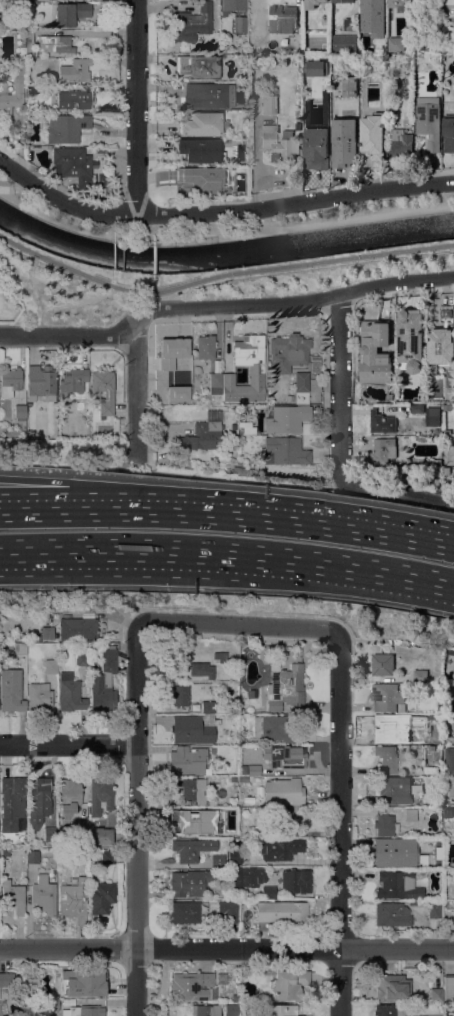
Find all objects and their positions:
building: (343, 1)
building: (449, 1)
building: (397, 2)
building: (312, 3)
building: (19, 5)
building: (233, 5)
building: (417, 9)
building: (71, 12)
building: (365, 14)
building: (282, 18)
building: (191, 22)
building: (349, 23)
building: (240, 24)
building: (28, 42)
building: (54, 43)
building: (344, 43)
building: (395, 43)
building: (223, 50)
building: (353, 59)
building: (97, 61)
building: (197, 66)
building: (314, 67)
building: (74, 70)
building: (349, 85)
building: (453, 86)
building: (243, 87)
building: (18, 88)
building: (33, 89)
building: (205, 95)
building: (75, 98)
building: (269, 103)
road: (136, 107)
building: (391, 107)
building: (428, 120)
building: (202, 124)
building: (66, 127)
building: (449, 133)
building: (373, 135)
building: (316, 137)
building: (344, 141)
building: (279, 144)
building: (400, 144)
building: (198, 150)
building: (73, 164)
building: (205, 179)
road: (15, 187)
road: (32, 209)
road: (220, 212)
road: (334, 220)
river: (223, 254)
road: (12, 271)
road: (220, 273)
road: (72, 291)
park: (59, 293)
road: (157, 299)
road: (290, 301)
road: (40, 302)
road: (65, 303)
road: (65, 334)
building: (442, 338)
building: (411, 340)
building: (205, 346)
building: (177, 349)
building: (287, 352)
building: (376, 352)
building: (196, 369)
building: (256, 369)
building: (73, 379)
building: (10, 381)
building: (216, 382)
building: (41, 383)
road: (136, 387)
building: (301, 388)
building: (103, 390)
building: (450, 392)
building: (180, 394)
building: (166, 400)
building: (448, 407)
building: (50, 408)
building: (417, 408)
building: (20, 411)
building: (432, 415)
building: (286, 418)
building: (381, 421)
building: (437, 429)
building: (447, 431)
building: (201, 435)
road: (340, 441)
building: (285, 450)
building: (383, 450)
building: (436, 461)
building: (446, 470)
building: (242, 471)
road: (34, 500)
road: (34, 507)
road: (261, 515)
road: (228, 557)
road: (118, 565)
road: (240, 624)
building: (78, 628)
building: (45, 633)
building: (220, 656)
building: (81, 659)
building: (20, 663)
building: (383, 664)
building: (50, 665)
building: (198, 670)
building: (453, 671)
building: (420, 675)
building: (104, 682)
building: (285, 689)
building: (70, 693)
building: (179, 695)
building: (11, 696)
building: (39, 696)
building: (387, 697)
building: (207, 706)
building: (234, 717)
building: (449, 725)
building: (388, 726)
building: (270, 727)
building: (193, 728)
building: (425, 737)
building: (242, 739)
building: (452, 739)
road: (67, 743)
building: (431, 747)
building: (275, 755)
building: (386, 757)
building: (181, 759)
building: (449, 760)
building: (253, 767)
building: (242, 768)
building: (227, 770)
building: (431, 770)
building: (233, 778)
building: (244, 779)
building: (448, 786)
building: (190, 788)
building: (395, 789)
building: (283, 791)
building: (100, 795)
building: (68, 798)
building: (38, 801)
building: (12, 804)
building: (204, 813)
building: (409, 814)
building: (448, 815)
road: (135, 818)
building: (278, 818)
road: (339, 824)
building: (384, 824)
building: (81, 826)
building: (182, 826)
building: (264, 830)
building: (50, 834)
building: (101, 835)
building: (450, 845)
building: (280, 848)
building: (185, 850)
building: (81, 852)
building: (394, 852)
building: (437, 852)
building: (5, 855)
building: (234, 855)
building: (32, 856)
building: (107, 856)
building: (421, 859)
building: (217, 860)
building: (273, 872)
building: (246, 876)
building: (296, 880)
building: (187, 883)
building: (397, 885)
building: (45, 891)
building: (268, 892)
building: (13, 896)
building: (101, 897)
building: (73, 900)
building: (412, 902)
building: (434, 909)
building: (281, 911)
building: (185, 912)
building: (229, 914)
building: (392, 914)
road: (226, 948)
building: (6, 979)
building: (55, 983)
building: (84, 983)
building: (288, 983)
building: (192, 985)
building: (391, 986)
building: (448, 986)
building: (436, 994)
building: (68, 1001)
building: (48, 1004)
building: (231, 1009)
building: (203, 1010)
building: (281, 1010)
building: (388, 1010)
building: (83, 1011)

